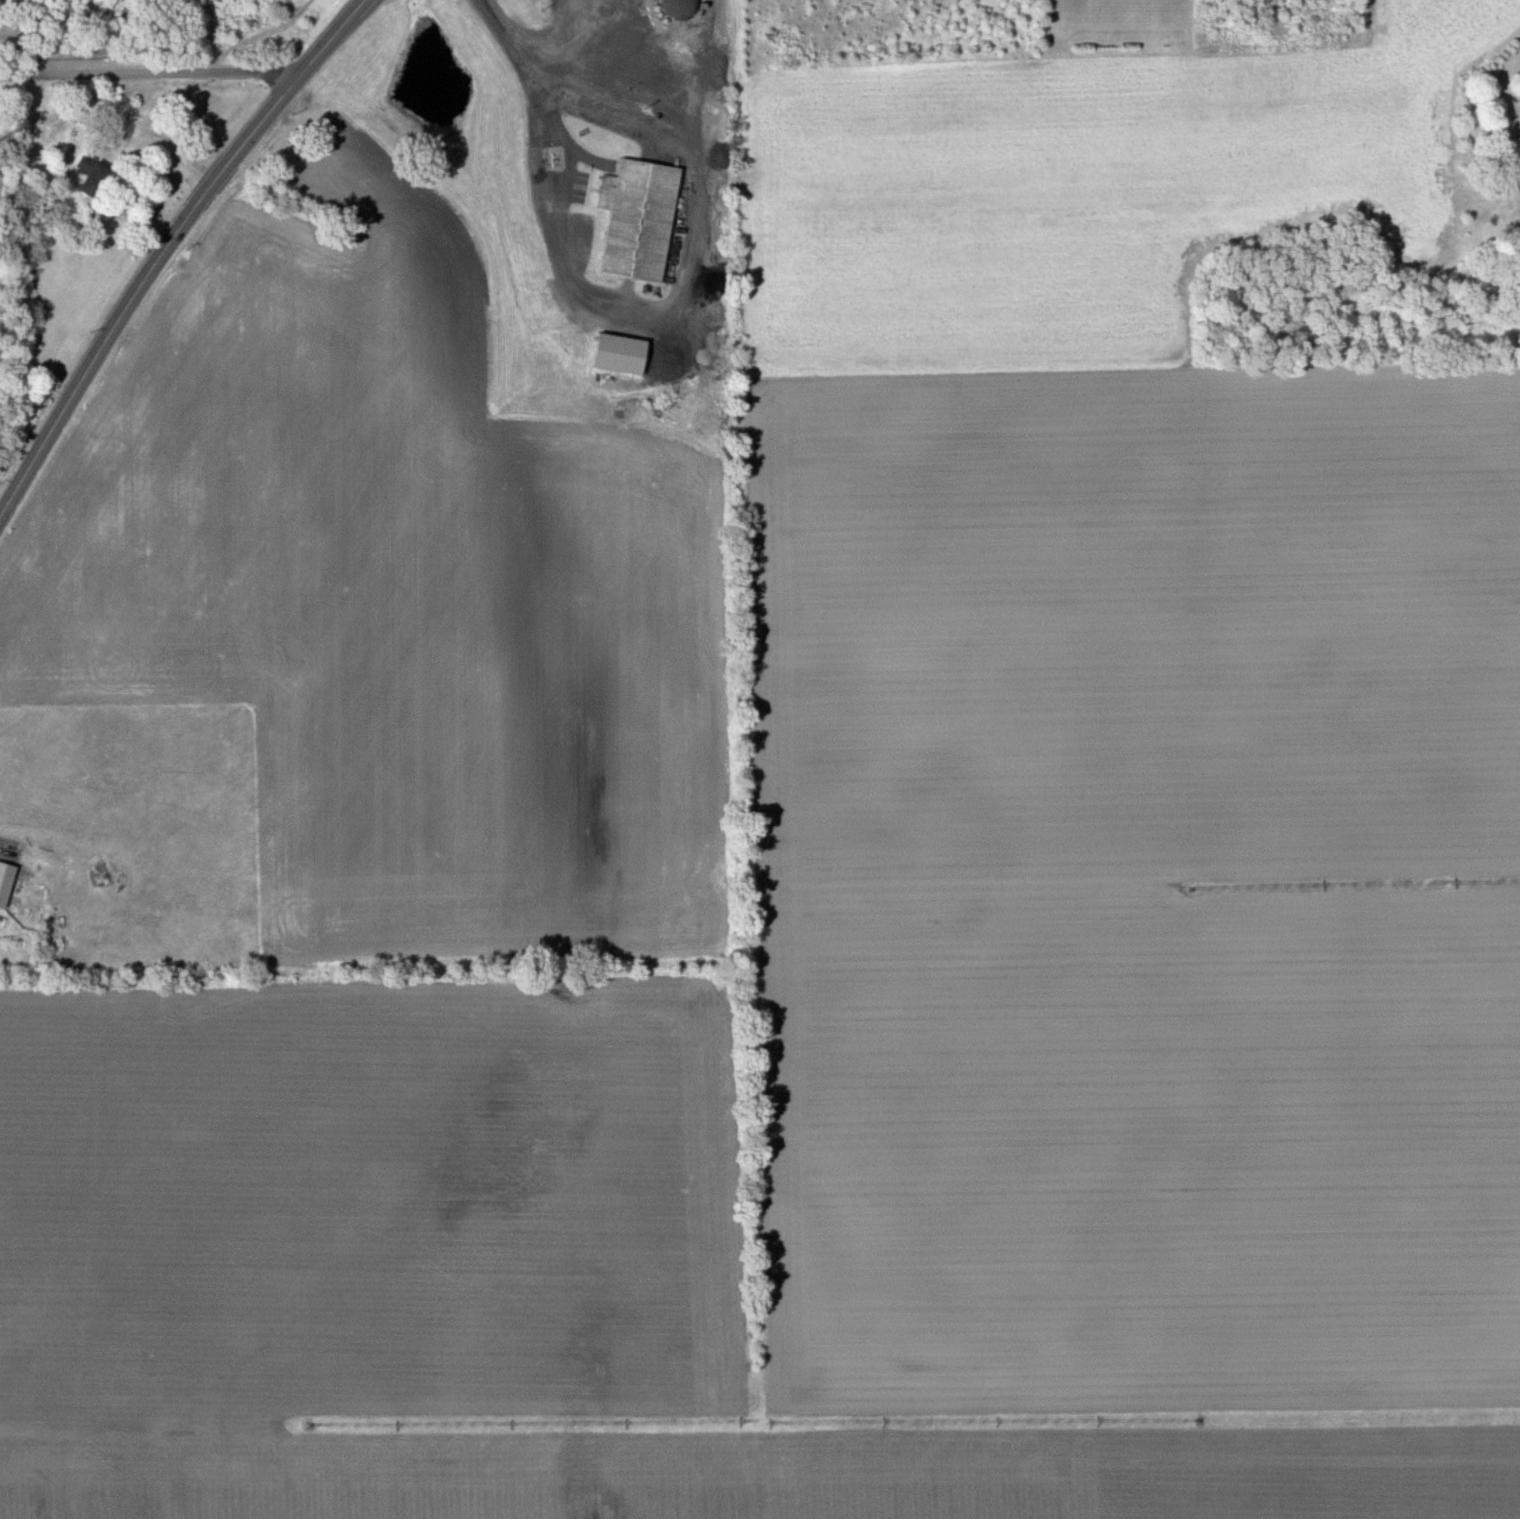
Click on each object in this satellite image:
road: (152, 73)
road: (556, 166)
building: (99, 178)
building: (642, 220)
road: (167, 248)
building: (625, 354)

